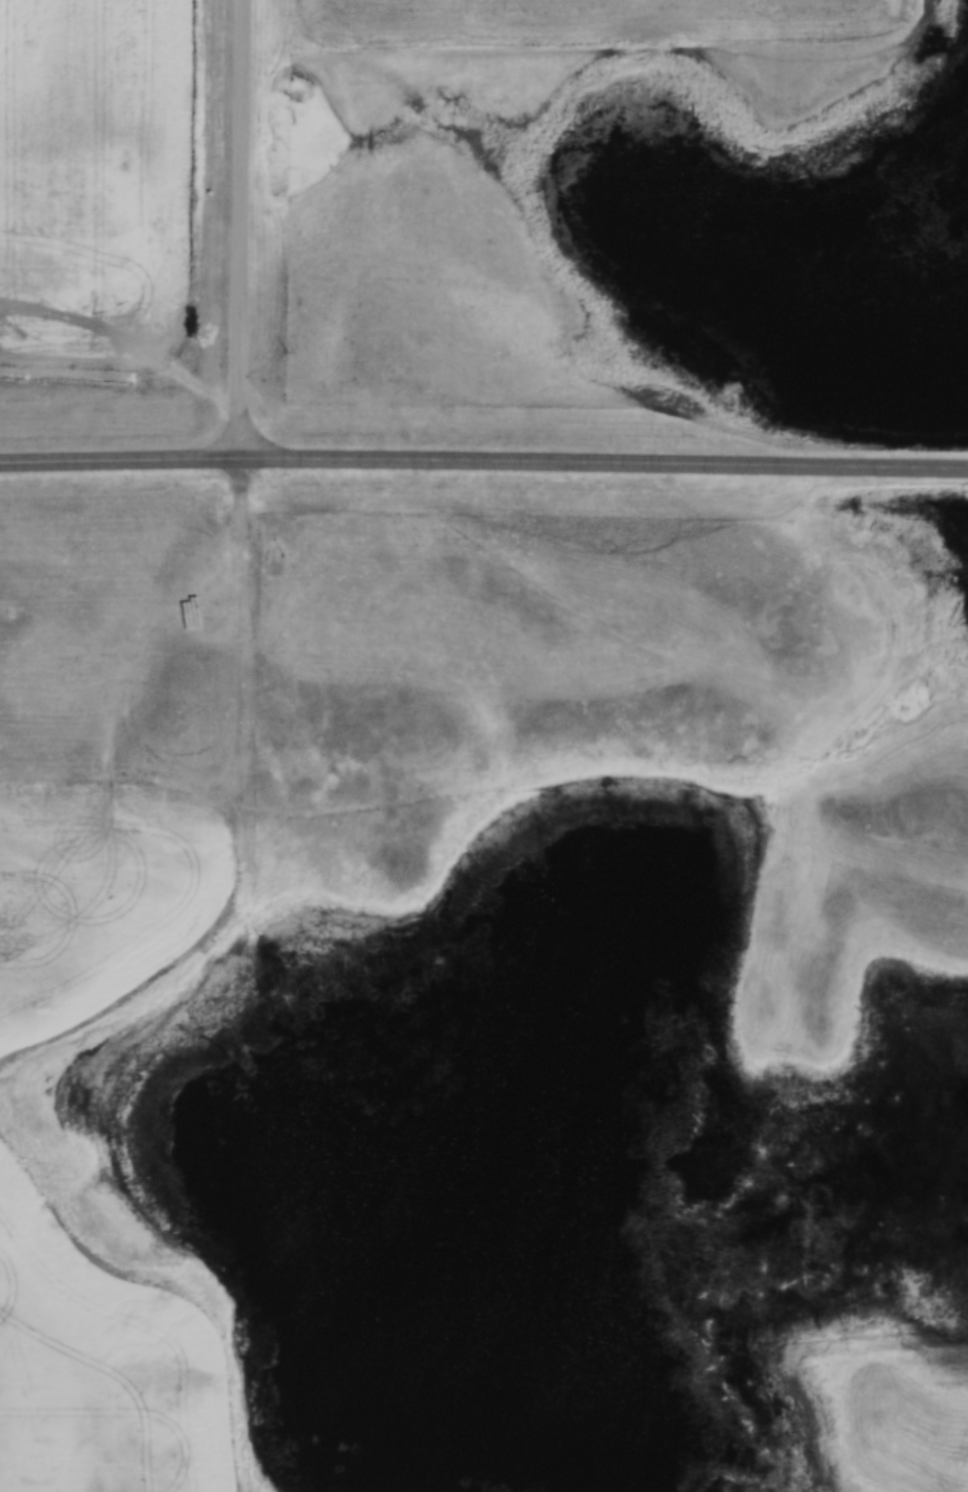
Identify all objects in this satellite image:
road: (244, 231)
road: (483, 462)
road: (172, 982)

